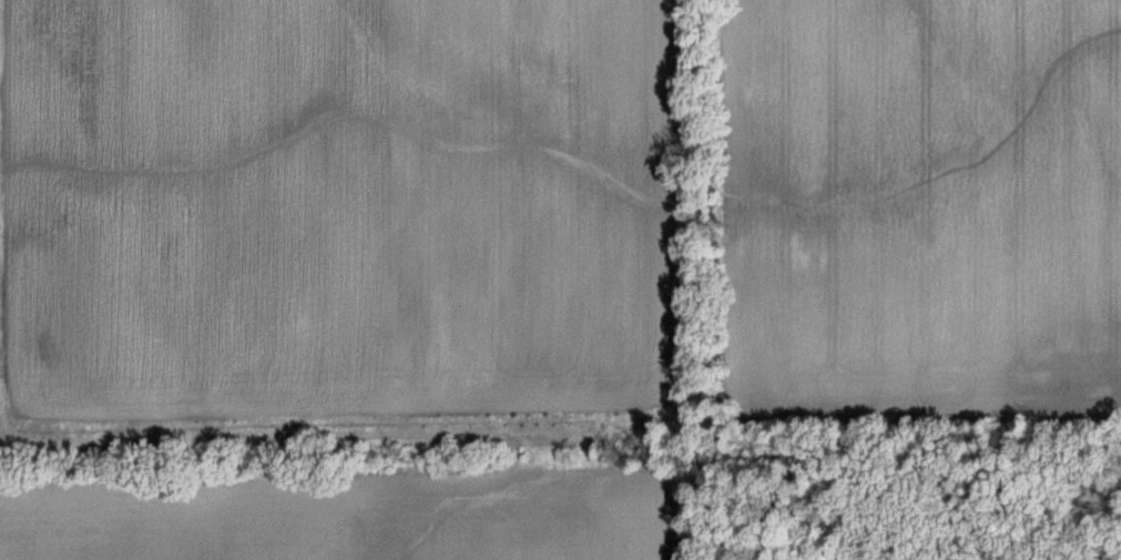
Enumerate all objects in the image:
crop: (521, 255)

